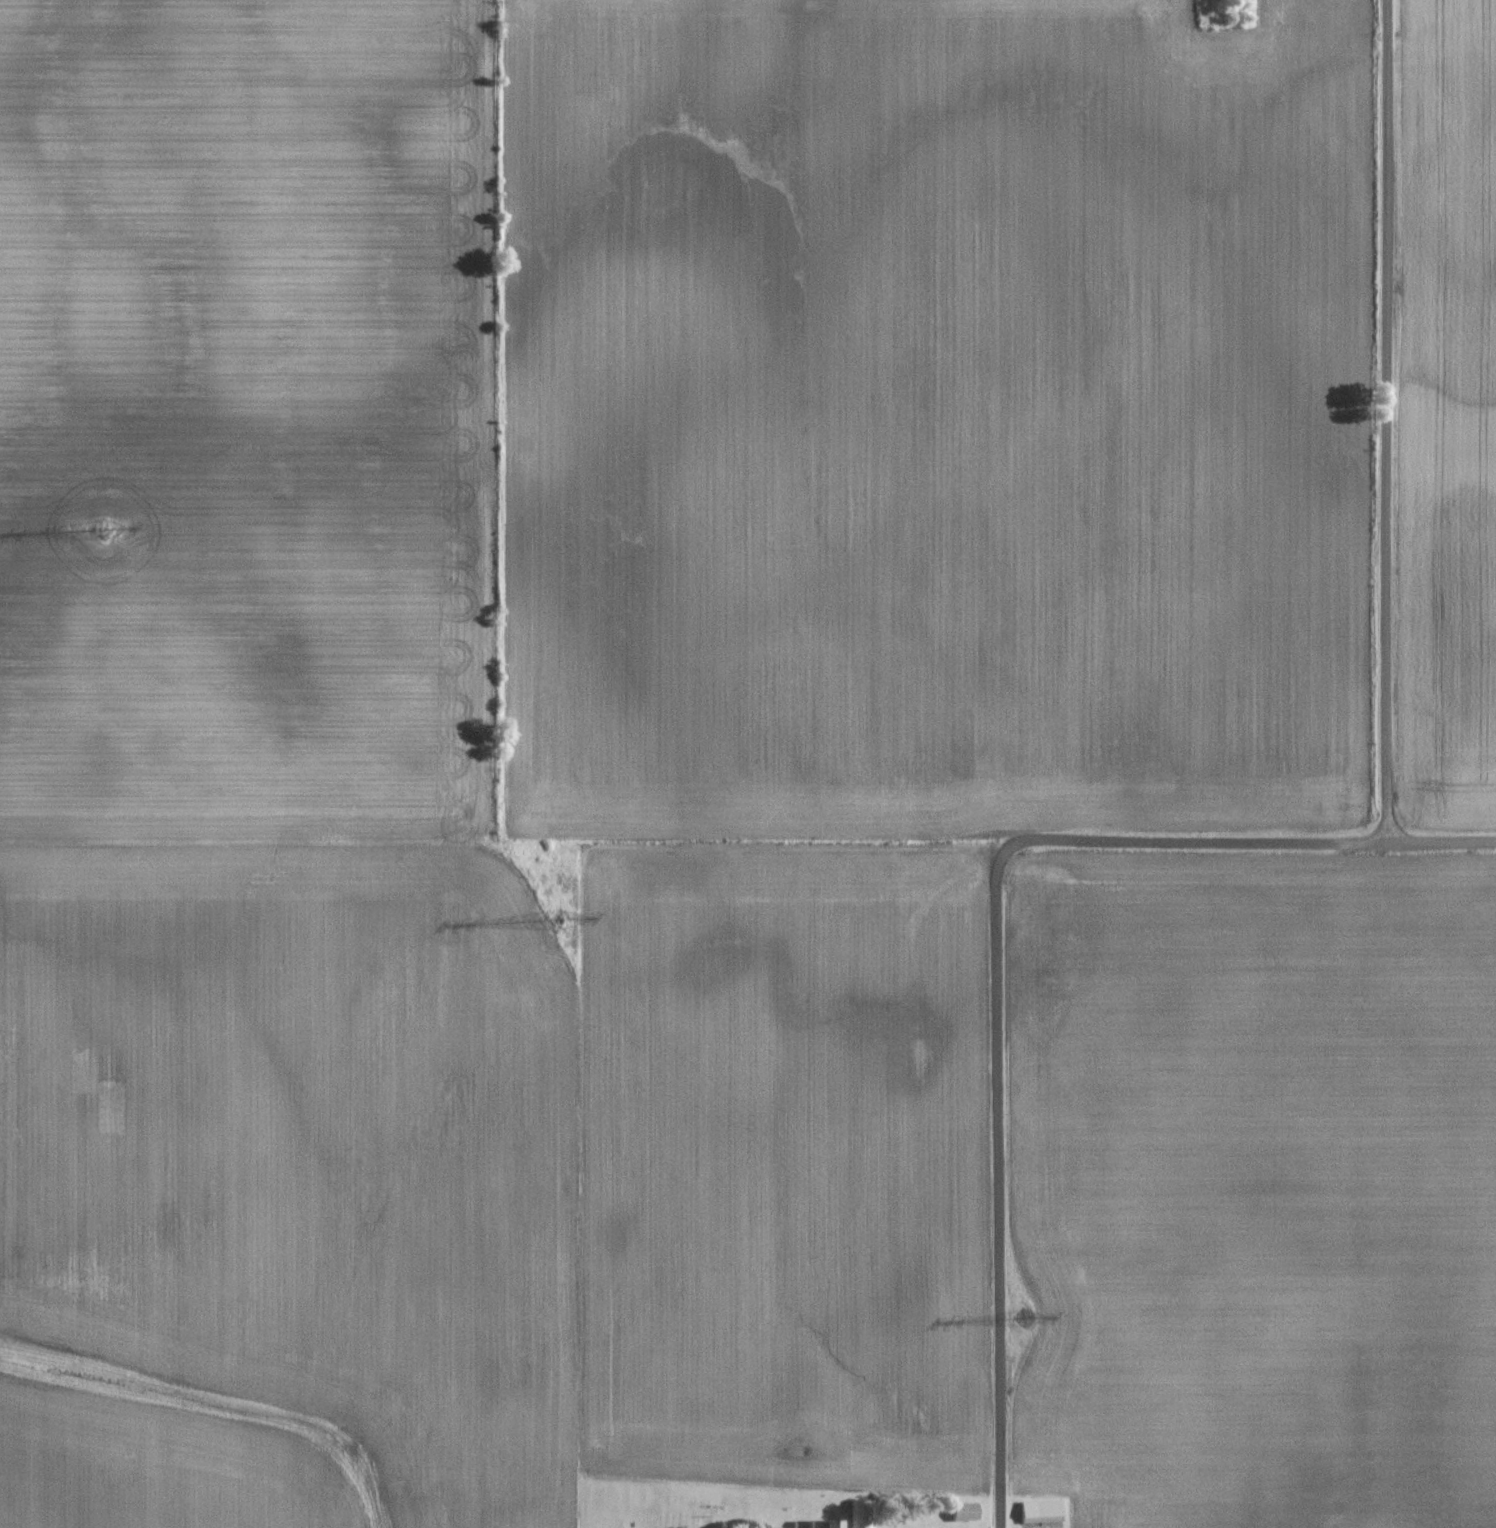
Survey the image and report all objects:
road: (1388, 421)
power tower: (111, 525)
road: (1248, 840)
road: (999, 1190)
power tower: (1030, 1316)
building: (1041, 1511)
building: (964, 1512)
building: (860, 1514)
building: (824, 1524)

